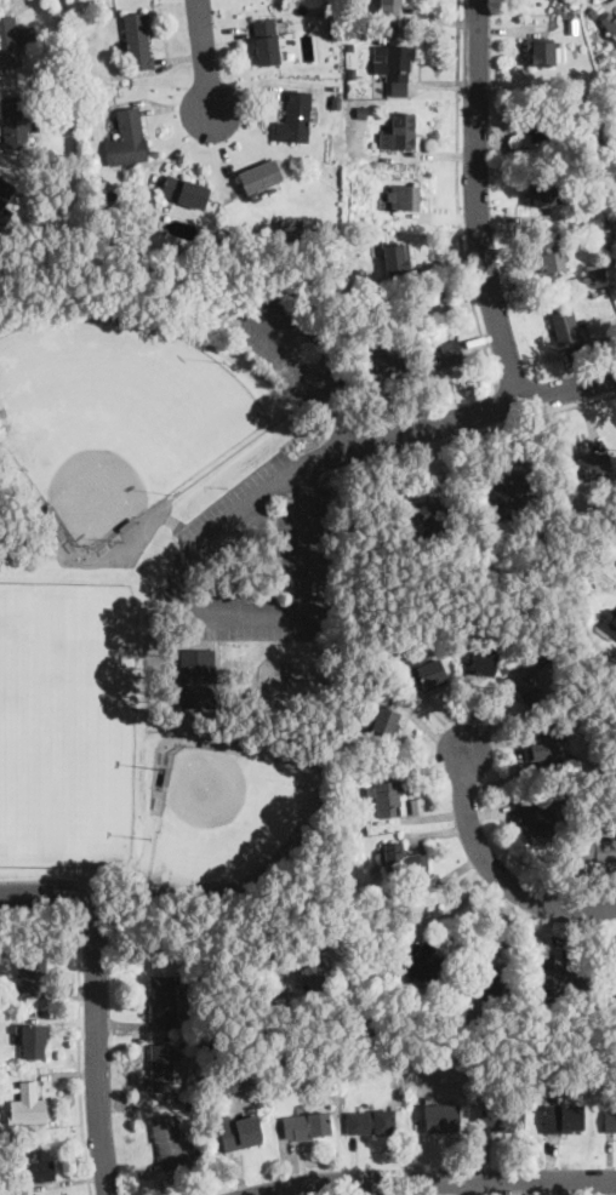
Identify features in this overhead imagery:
building: (390, 6)
building: (610, 22)
building: (15, 33)
building: (137, 39)
building: (615, 39)
building: (266, 40)
building: (544, 50)
road: (204, 53)
building: (395, 67)
building: (296, 113)
building: (18, 121)
building: (547, 121)
building: (403, 130)
building: (127, 136)
building: (261, 175)
building: (184, 189)
building: (6, 190)
building: (542, 190)
road: (457, 195)
building: (403, 196)
road: (477, 200)
building: (290, 222)
building: (397, 256)
building: (552, 257)
road: (129, 284)
building: (566, 324)
parking lot: (291, 348)
building: (447, 350)
building: (394, 364)
road: (477, 407)
park: (115, 412)
road: (332, 424)
road: (479, 433)
road: (238, 448)
building: (593, 462)
building: (507, 490)
building: (432, 510)
parking lot: (258, 556)
park: (169, 587)
road: (201, 610)
building: (610, 621)
building: (484, 659)
building: (427, 669)
building: (198, 676)
building: (534, 690)
road: (203, 708)
park: (68, 720)
building: (382, 720)
road: (183, 733)
building: (547, 750)
building: (387, 795)
building: (536, 813)
park: (232, 818)
building: (597, 850)
building: (404, 858)
road: (497, 871)
road: (62, 885)
road: (421, 890)
parking lot: (1, 913)
building: (427, 961)
building: (315, 972)
building: (30, 976)
building: (558, 976)
building: (490, 979)
building: (164, 996)
building: (33, 1039)
road: (78, 1050)
road: (96, 1062)
building: (162, 1065)
building: (28, 1104)
building: (564, 1115)
building: (501, 1117)
building: (439, 1119)
building: (614, 1119)
building: (370, 1120)
building: (307, 1123)
building: (240, 1131)
building: (167, 1139)
building: (41, 1160)
road: (433, 1176)

